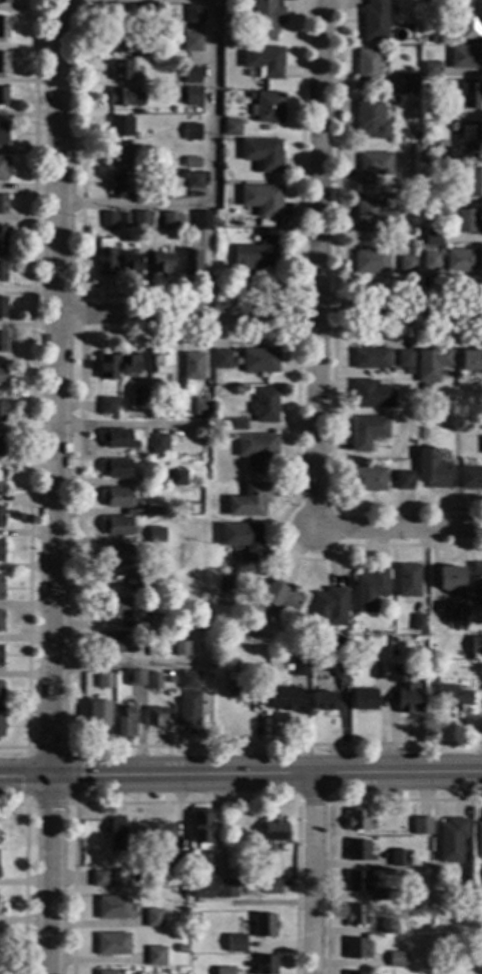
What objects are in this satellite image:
building: (4, 1)
building: (243, 12)
building: (194, 13)
building: (122, 14)
building: (265, 18)
building: (419, 19)
building: (468, 19)
building: (374, 20)
building: (3, 27)
building: (191, 41)
building: (128, 42)
building: (464, 56)
building: (263, 60)
building: (3, 62)
building: (366, 65)
building: (430, 69)
building: (123, 70)
building: (191, 74)
building: (399, 82)
building: (413, 88)
building: (249, 94)
building: (3, 95)
building: (192, 95)
building: (470, 95)
building: (121, 96)
building: (393, 99)
building: (268, 107)
building: (443, 111)
building: (370, 117)
building: (120, 126)
building: (231, 127)
building: (192, 131)
building: (3, 132)
building: (469, 137)
building: (440, 151)
building: (120, 153)
building: (261, 153)
building: (425, 155)
building: (191, 161)
building: (371, 166)
building: (3, 167)
building: (182, 175)
road: (210, 175)
building: (194, 179)
building: (466, 180)
building: (120, 181)
building: (443, 196)
building: (261, 199)
building: (2, 204)
building: (373, 217)
building: (141, 218)
building: (108, 220)
building: (202, 220)
building: (465, 220)
building: (170, 221)
building: (124, 226)
building: (2, 237)
building: (433, 237)
building: (445, 245)
building: (256, 254)
building: (461, 259)
building: (105, 260)
building: (370, 260)
building: (190, 261)
building: (430, 261)
building: (161, 263)
road: (314, 263)
building: (130, 264)
building: (406, 264)
building: (2, 271)
building: (2, 306)
road: (270, 315)
building: (2, 341)
building: (371, 358)
building: (405, 358)
building: (221, 359)
building: (471, 359)
building: (259, 360)
building: (159, 363)
building: (431, 363)
building: (128, 364)
building: (106, 366)
building: (192, 366)
building: (407, 371)
building: (1, 374)
building: (424, 387)
building: (370, 394)
building: (139, 397)
building: (172, 398)
building: (107, 405)
building: (200, 405)
building: (264, 405)
building: (1, 411)
building: (233, 423)
building: (367, 431)
building: (117, 439)
building: (158, 443)
building: (481, 444)
building: (2, 445)
building: (258, 450)
building: (116, 467)
building: (431, 469)
building: (178, 478)
building: (470, 478)
building: (367, 479)
building: (402, 480)
building: (1, 481)
road: (55, 487)
building: (116, 496)
building: (249, 500)
building: (155, 510)
building: (1, 516)
building: (116, 525)
road: (398, 528)
building: (159, 538)
building: (244, 539)
building: (1, 550)
building: (117, 554)
building: (450, 578)
building: (476, 578)
building: (134, 579)
building: (407, 580)
building: (0, 588)
building: (369, 590)
building: (213, 592)
building: (280, 596)
building: (114, 606)
building: (330, 606)
building: (456, 610)
building: (1, 620)
building: (158, 621)
building: (418, 622)
building: (465, 635)
building: (116, 642)
building: (476, 646)
building: (180, 648)
building: (344, 652)
building: (0, 655)
building: (213, 662)
road: (128, 665)
building: (300, 666)
building: (340, 668)
building: (379, 670)
building: (134, 678)
building: (103, 680)
building: (153, 680)
building: (171, 680)
building: (180, 682)
building: (481, 685)
building: (233, 686)
building: (259, 690)
building: (405, 690)
building: (0, 691)
building: (452, 695)
building: (284, 698)
building: (364, 698)
building: (323, 701)
building: (188, 708)
building: (97, 712)
building: (156, 716)
building: (124, 721)
building: (1, 726)
road: (267, 774)
road: (26, 776)
building: (357, 819)
building: (422, 826)
building: (201, 829)
building: (275, 830)
building: (153, 832)
building: (116, 833)
building: (452, 839)
building: (478, 839)
building: (358, 850)
building: (399, 858)
building: (177, 861)
road: (312, 874)
building: (99, 878)
building: (357, 881)
building: (272, 886)
building: (227, 888)
building: (200, 889)
building: (385, 894)
building: (113, 907)
building: (356, 913)
building: (195, 916)
building: (153, 917)
building: (263, 925)
building: (388, 926)
building: (236, 942)
building: (112, 943)
building: (181, 948)
building: (357, 948)
building: (157, 954)
building: (398, 959)
building: (264, 964)
building: (428, 965)
building: (224, 970)
building: (106, 972)
building: (356, 973)

